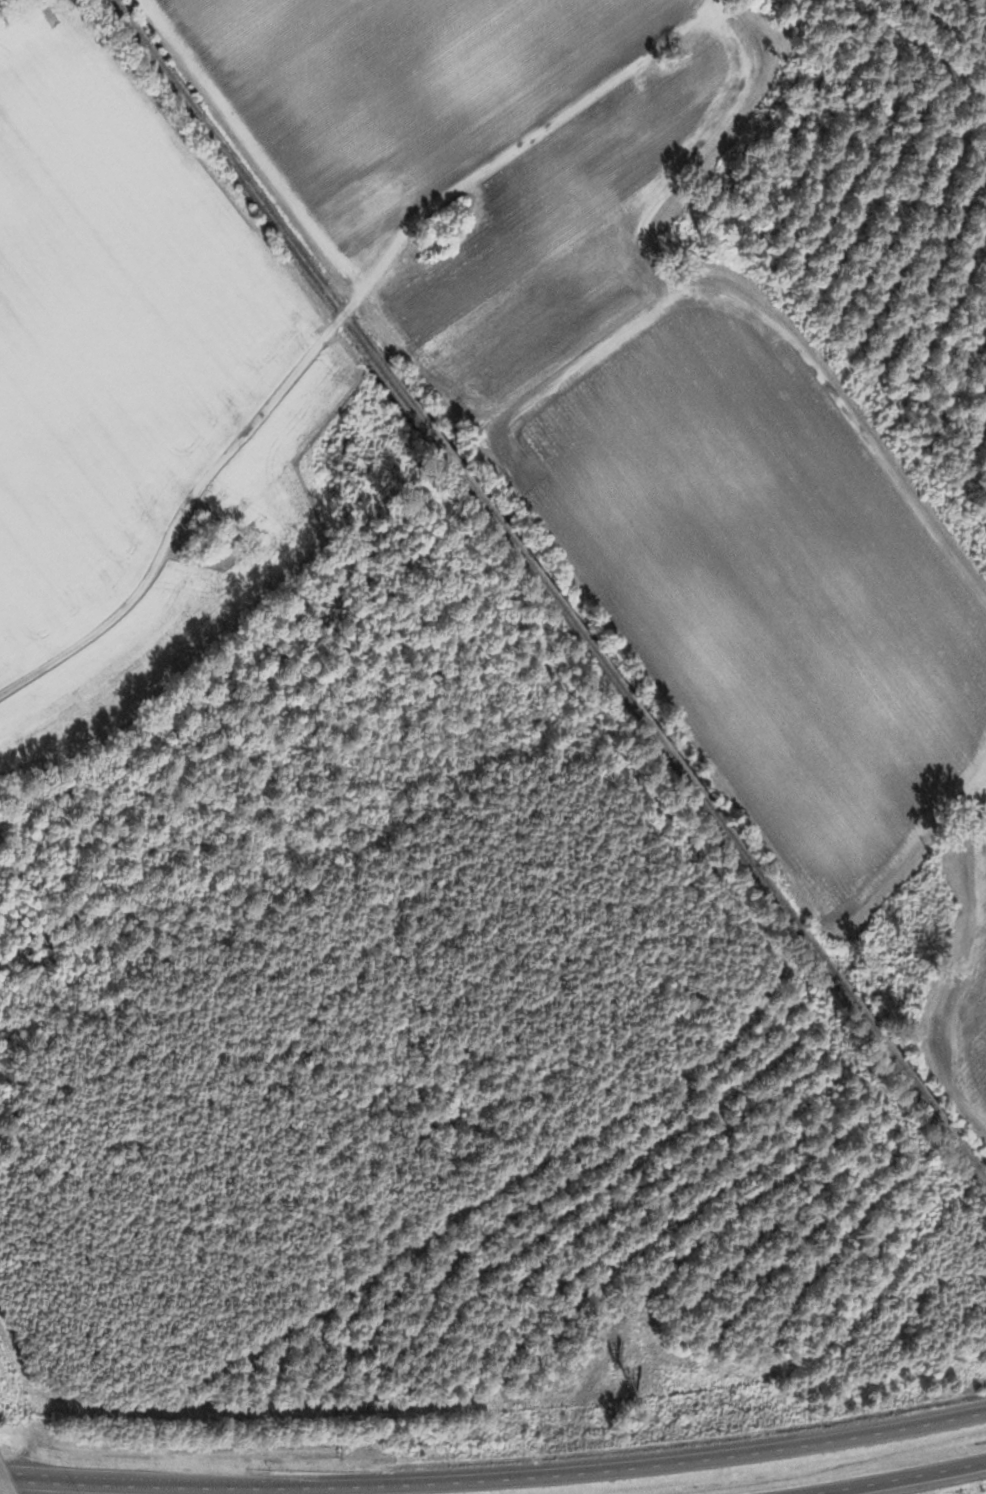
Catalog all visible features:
road: (225, 451)
railway: (549, 592)
road: (900, 1479)
road: (495, 1480)

